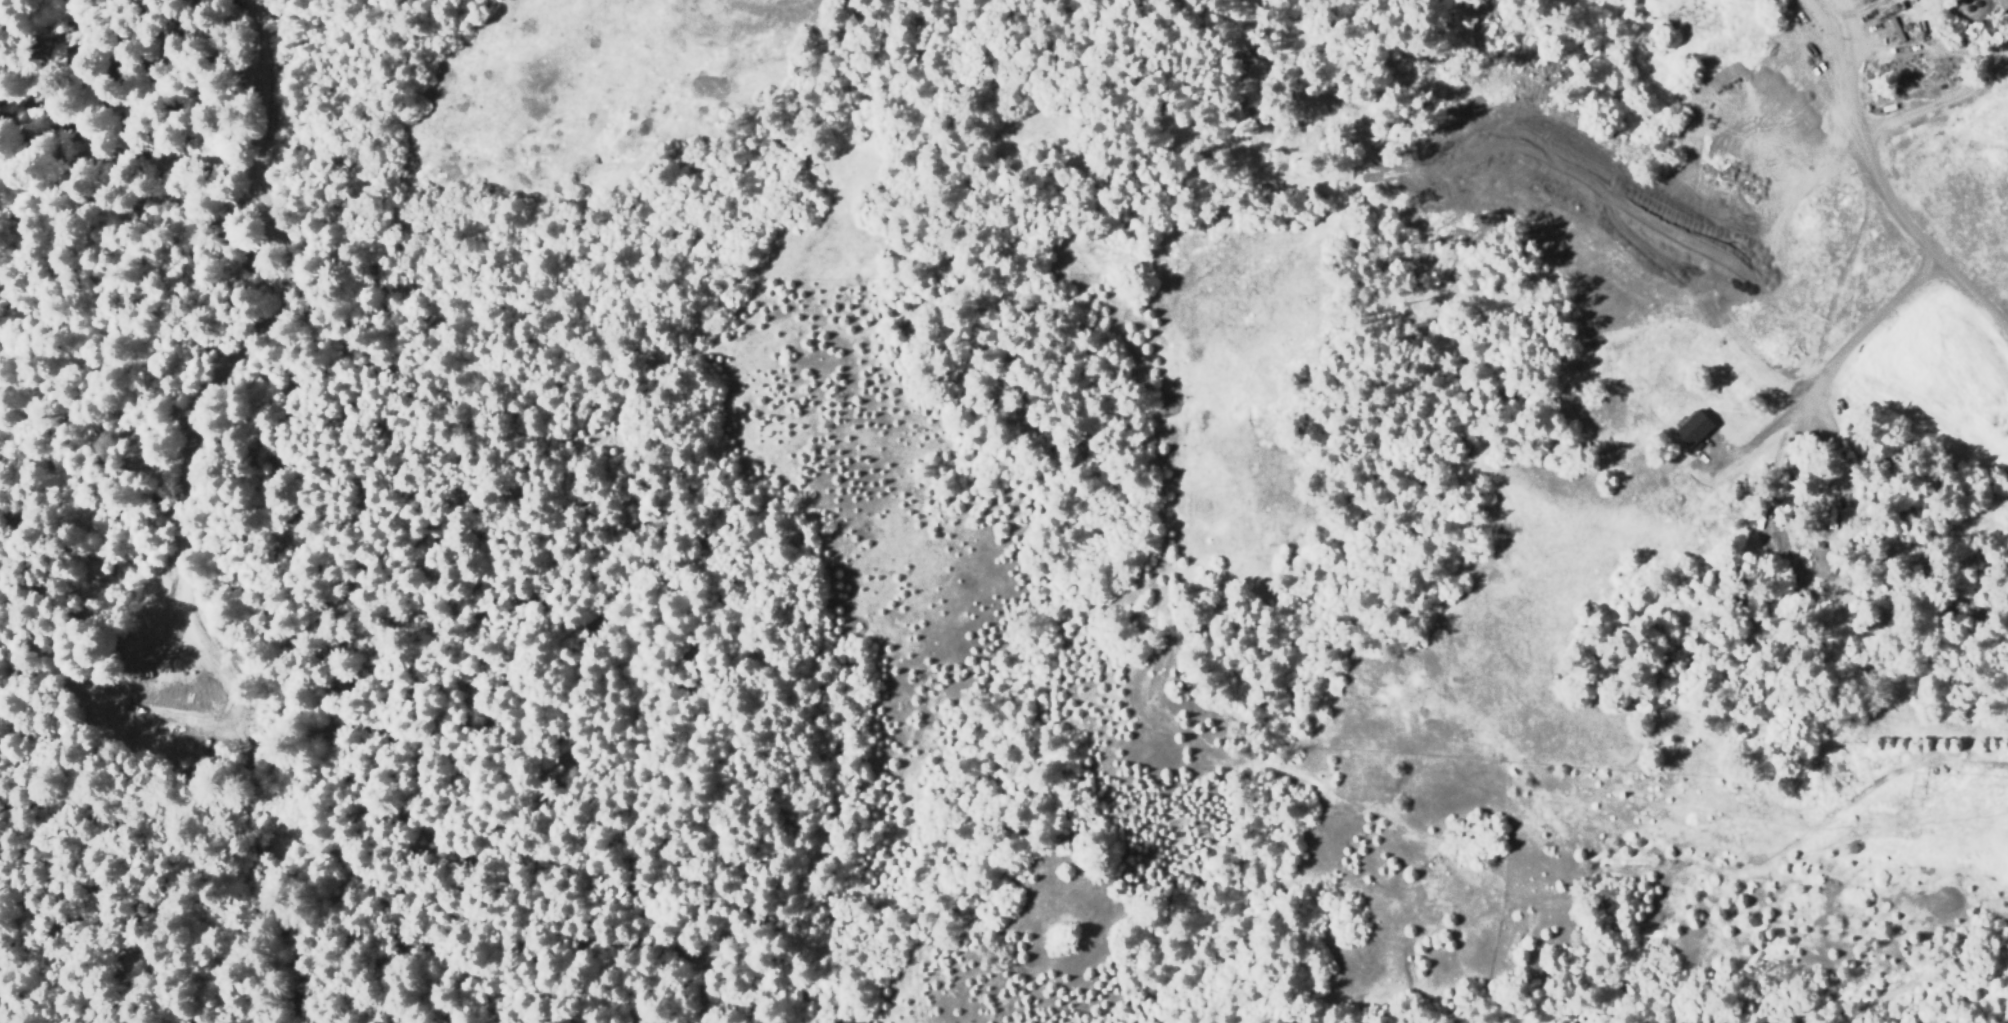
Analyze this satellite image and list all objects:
road: (1814, 11)
building: (1889, 106)
road: (1877, 185)
road: (1925, 263)
road: (1829, 364)
building: (1691, 429)

